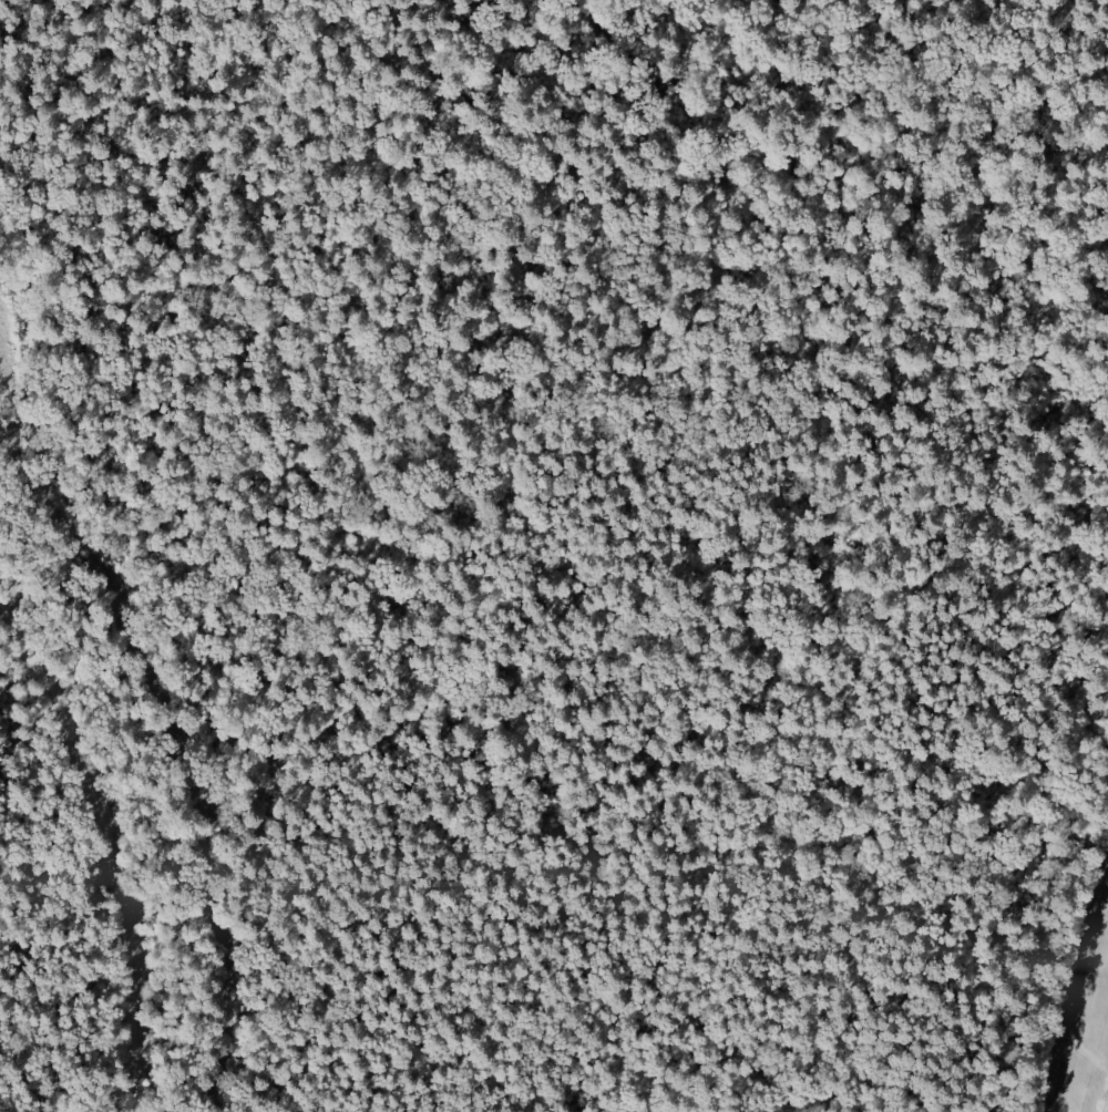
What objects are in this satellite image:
road: (106, 852)
road: (554, 941)
road: (1073, 977)

